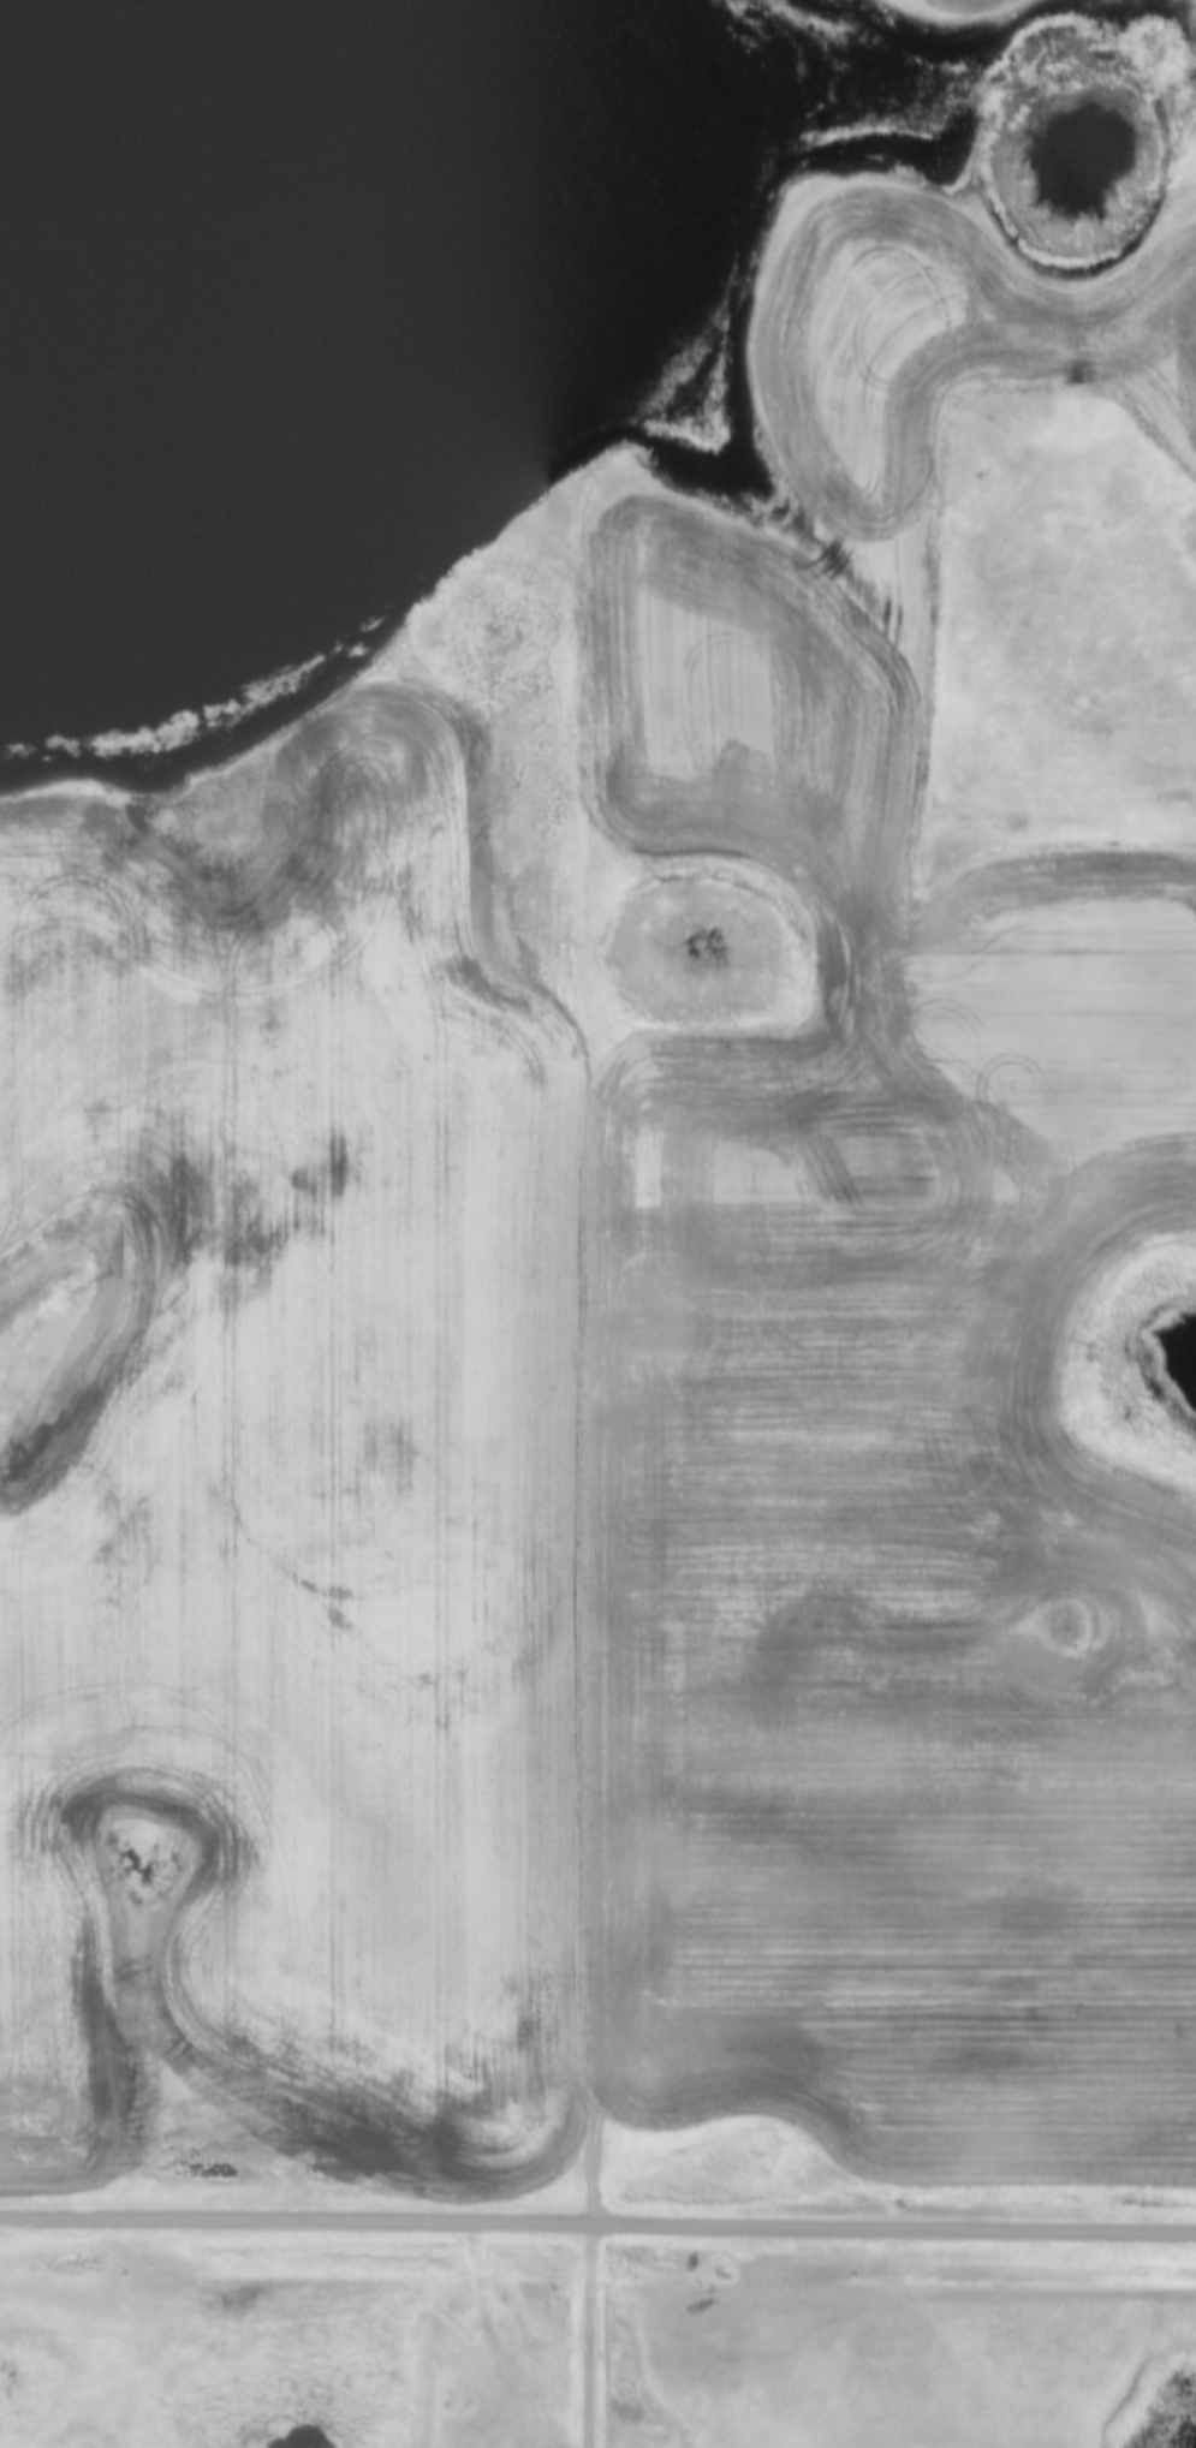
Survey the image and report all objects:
road: (597, 2222)
road: (608, 2335)

